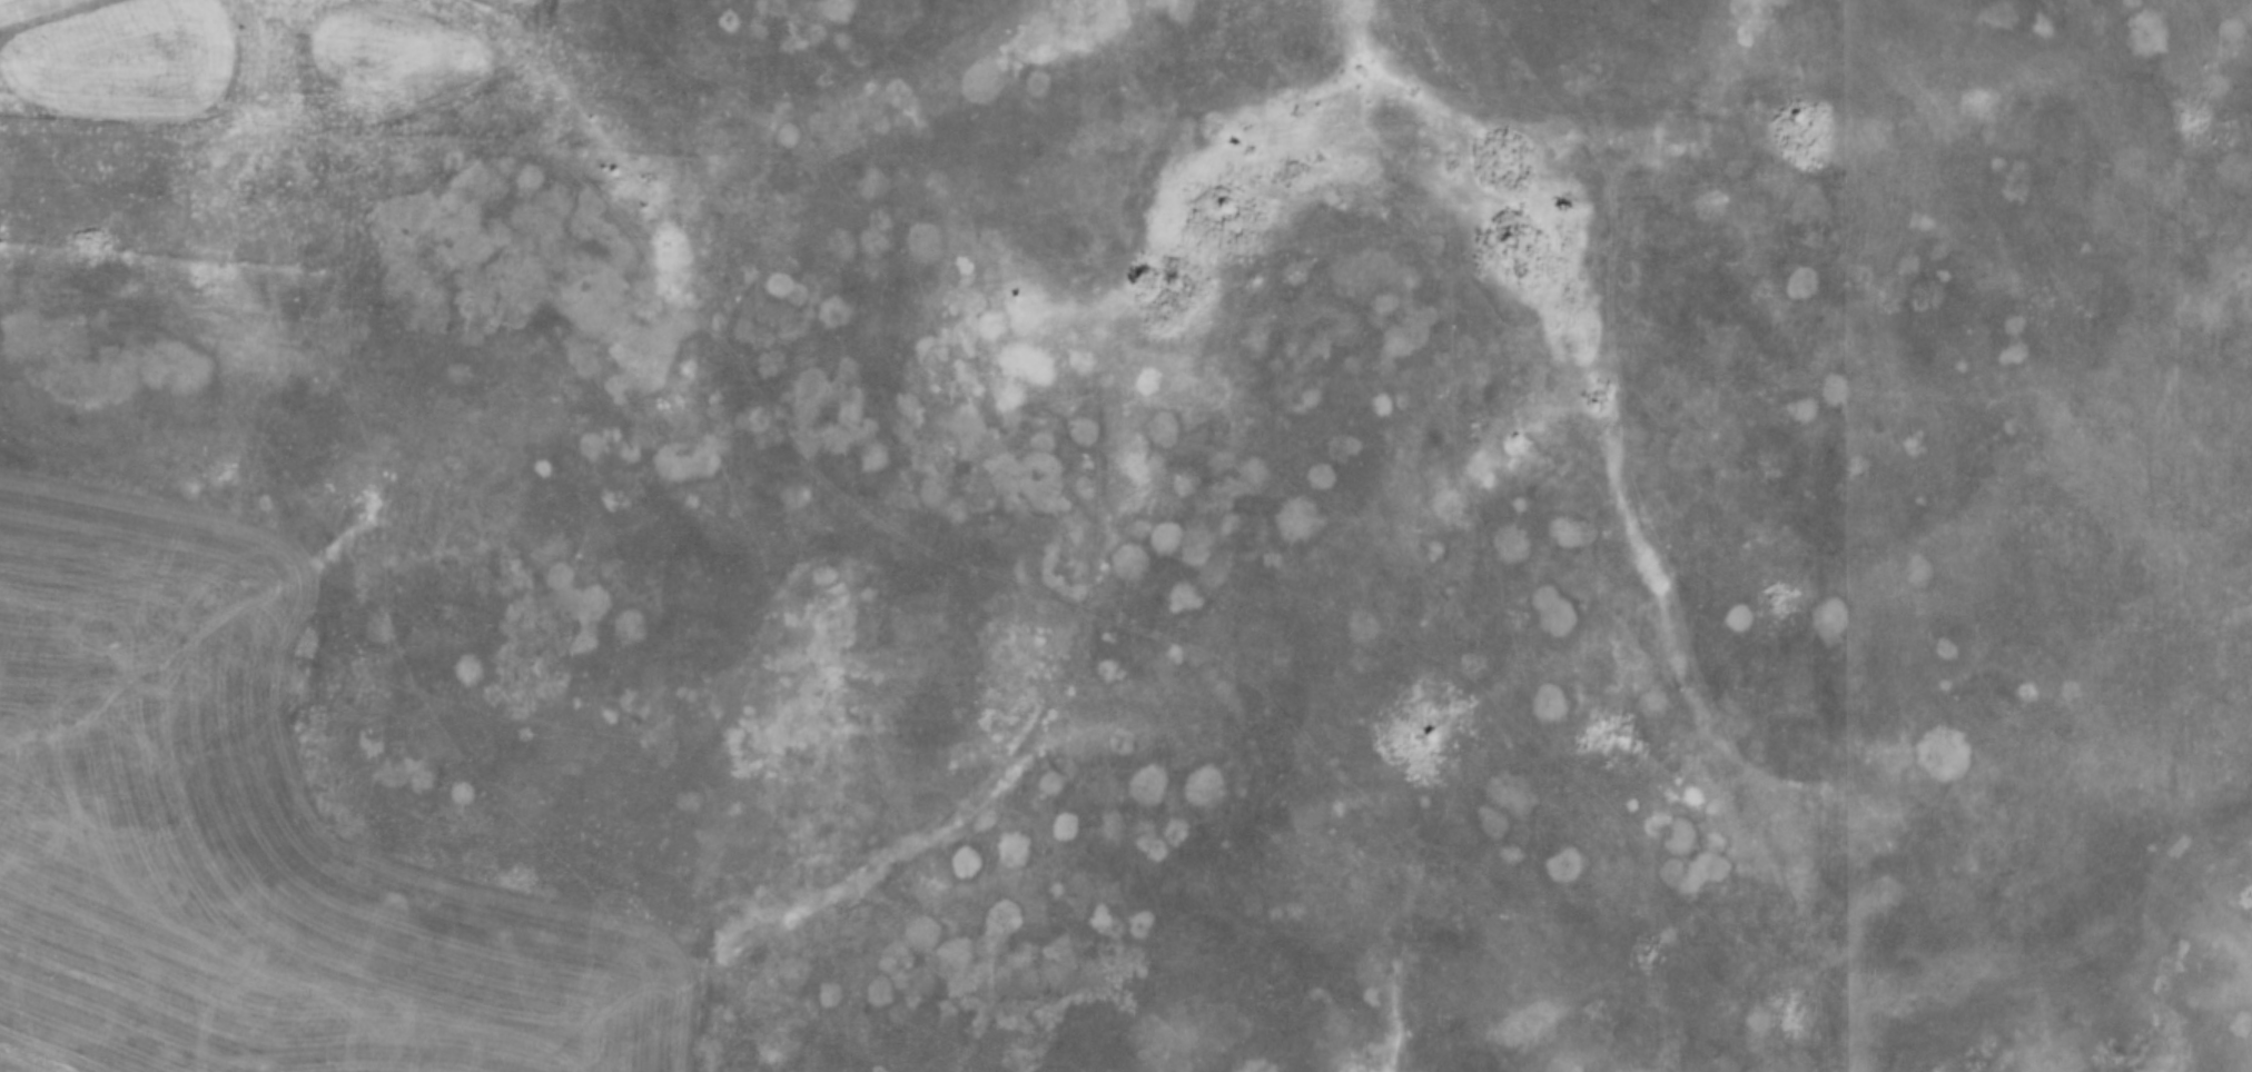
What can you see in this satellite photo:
road: (2080, 858)

